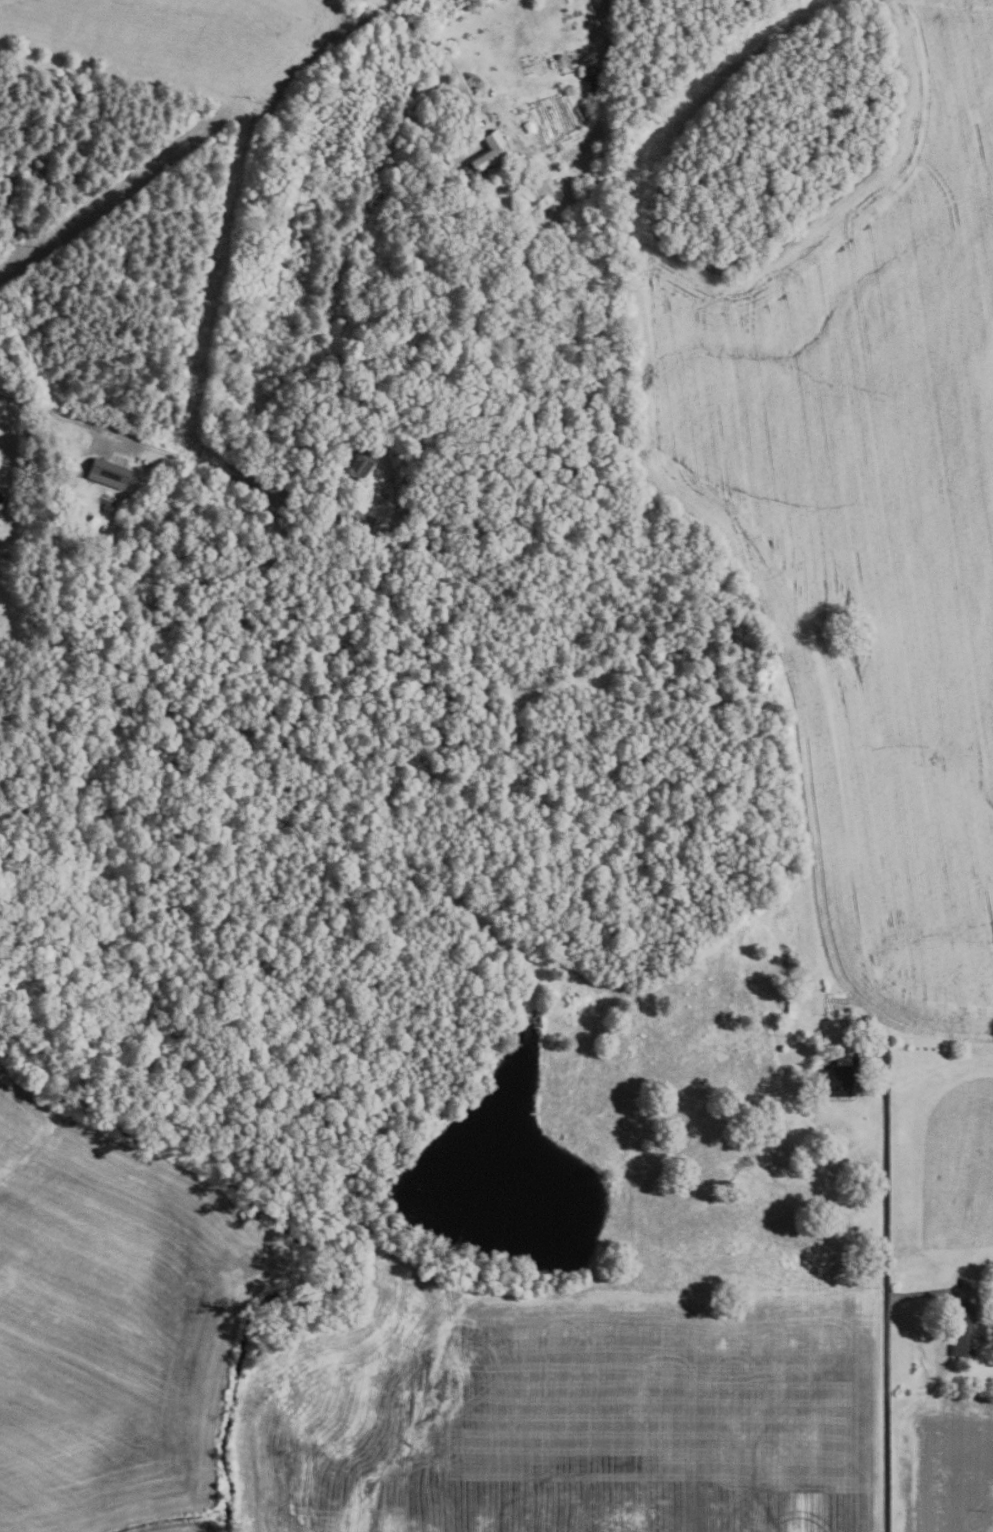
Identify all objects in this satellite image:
road: (429, 44)
building: (592, 81)
building: (484, 152)
road: (172, 455)
building: (357, 468)
building: (105, 474)
building: (425, 488)
building: (106, 508)
building: (790, 1009)
building: (797, 1037)
building: (837, 1077)
road: (884, 1176)
road: (932, 1292)
crop: (115, 1325)
building: (964, 1330)
crop: (564, 1413)
road: (886, 1416)

